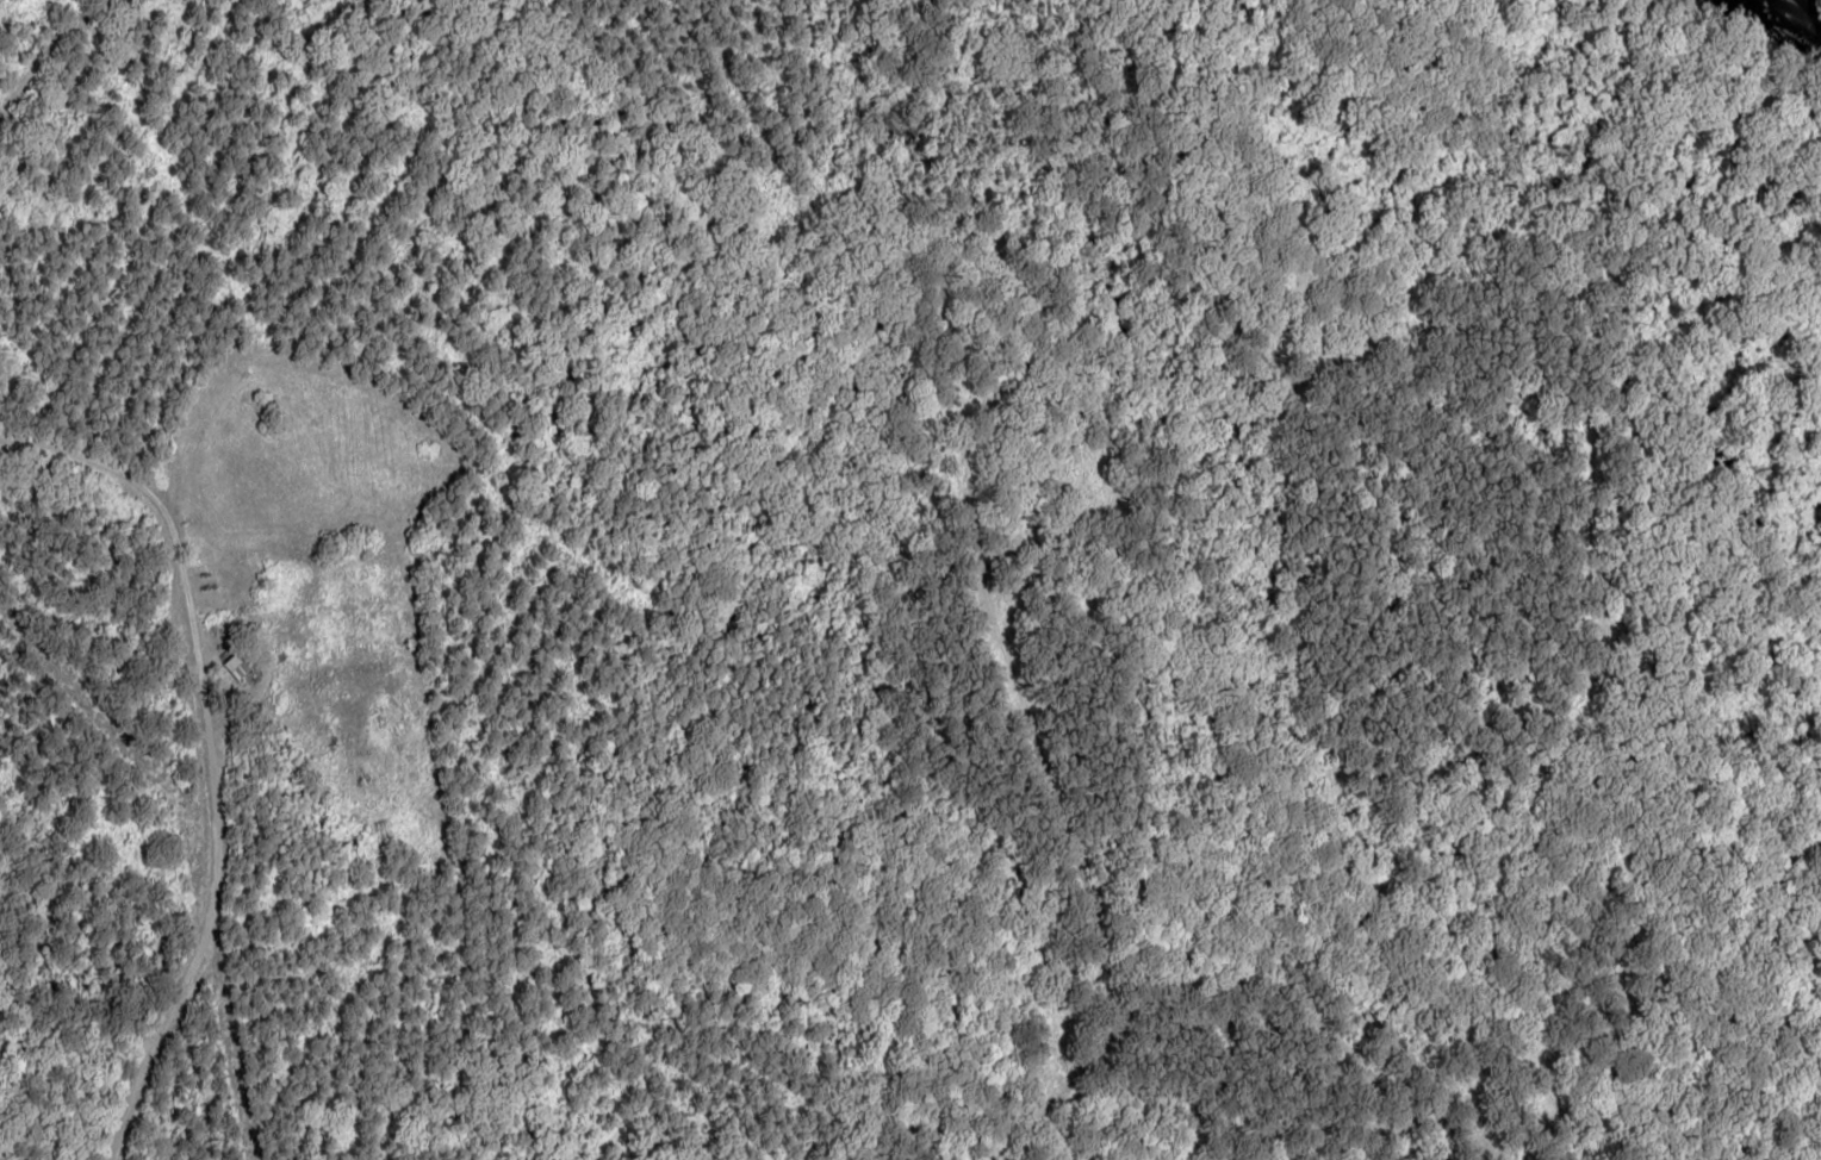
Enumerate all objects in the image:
road: (189, 759)

